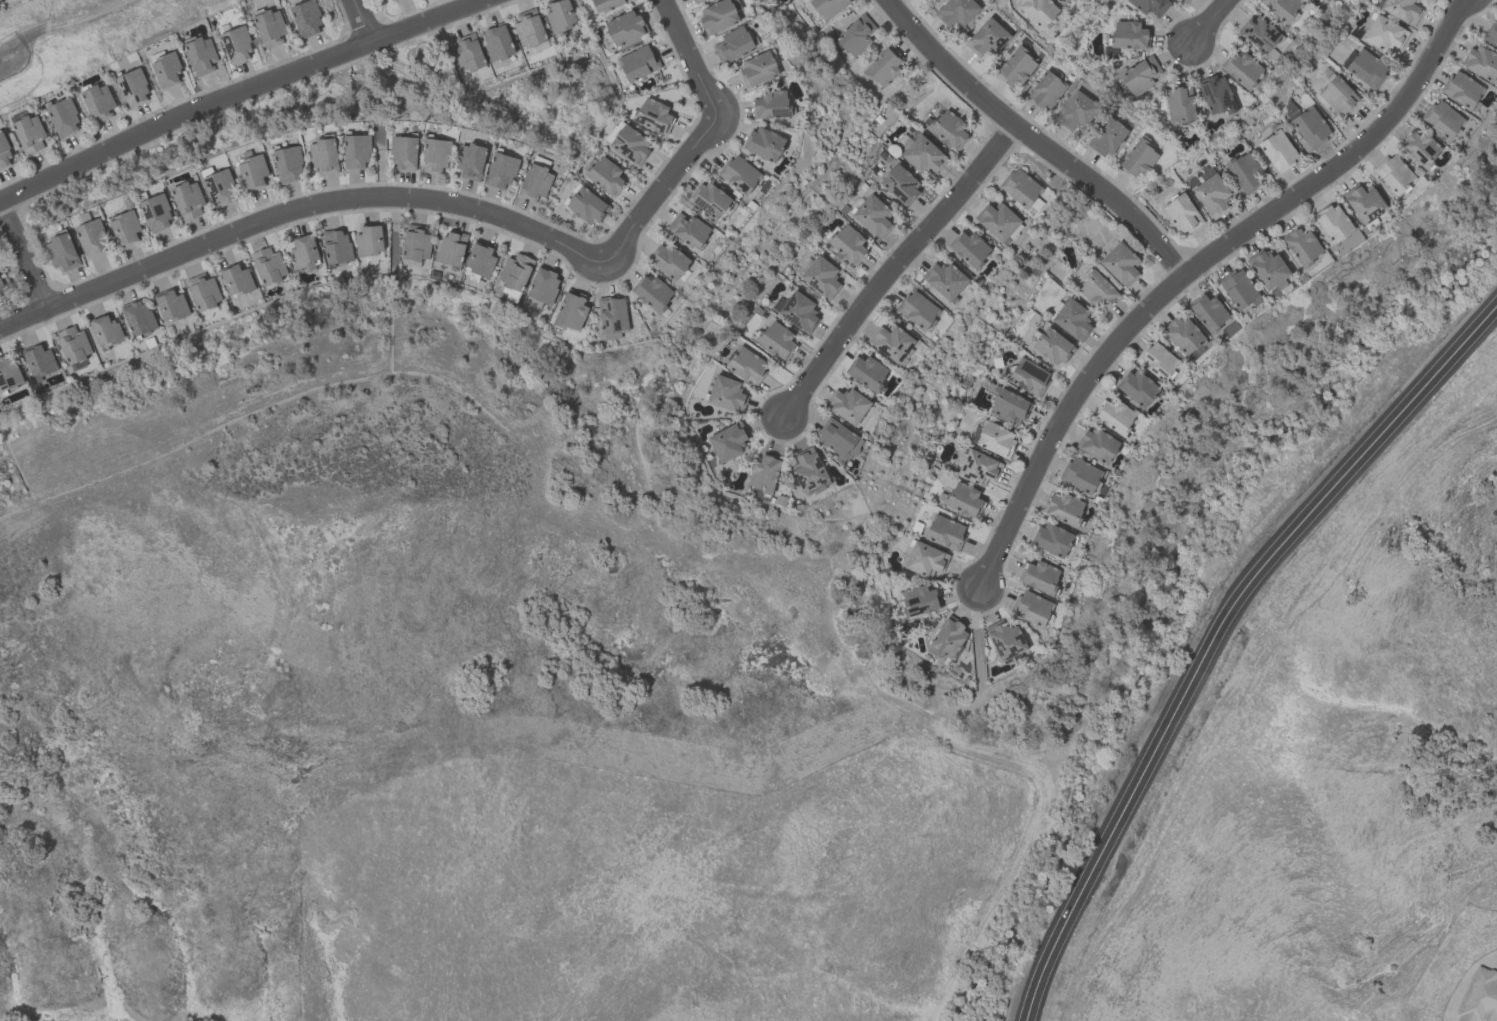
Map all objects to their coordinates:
building: (389, 0)
building: (698, 1)
building: (1060, 1)
building: (1183, 1)
building: (608, 4)
building: (1150, 6)
building: (828, 7)
building: (1281, 8)
building: (1402, 10)
building: (1038, 11)
building: (957, 13)
building: (560, 16)
building: (718, 16)
building: (306, 19)
road: (1211, 20)
road: (361, 22)
building: (270, 28)
building: (625, 28)
building: (529, 29)
building: (1260, 34)
building: (1384, 34)
building: (1492, 34)
building: (856, 35)
building: (1129, 35)
building: (987, 38)
building: (497, 42)
building: (236, 45)
building: (733, 45)
building: (468, 54)
building: (201, 56)
building: (1481, 63)
building: (637, 64)
building: (884, 67)
building: (1016, 67)
building: (758, 69)
building: (1366, 69)
building: (166, 70)
building: (1243, 70)
building: (1140, 76)
building: (133, 88)
building: (1462, 90)
building: (1045, 92)
road: (240, 95)
building: (1216, 95)
building: (1339, 97)
building: (99, 103)
building: (1179, 104)
building: (771, 105)
building: (1077, 111)
building: (653, 116)
building: (63, 118)
building: (1442, 119)
building: (1310, 128)
building: (949, 129)
building: (29, 134)
building: (1106, 137)
road: (1034, 138)
road: (699, 142)
building: (630, 144)
building: (764, 144)
building: (1420, 148)
building: (1278, 151)
building: (356, 152)
building: (404, 153)
building: (5, 154)
building: (324, 155)
building: (923, 155)
building: (435, 156)
building: (1138, 159)
building: (471, 162)
building: (288, 165)
building: (253, 171)
building: (501, 171)
building: (1244, 173)
building: (740, 174)
building: (1394, 174)
building: (605, 175)
building: (535, 182)
building: (900, 184)
building: (220, 188)
building: (1020, 188)
building: (1212, 196)
building: (188, 200)
building: (710, 200)
building: (1364, 203)
building: (587, 206)
road: (296, 211)
building: (156, 214)
building: (1181, 214)
building: (873, 216)
building: (998, 221)
building: (1333, 224)
building: (125, 228)
building: (689, 230)
building: (92, 238)
building: (1350, 240)
building: (369, 241)
building: (416, 243)
building: (848, 244)
building: (336, 247)
building: (1303, 247)
building: (451, 248)
building: (970, 249)
building: (304, 252)
building: (62, 253)
road: (22, 256)
building: (480, 260)
building: (668, 261)
building: (1120, 264)
road: (894, 265)
road: (1193, 265)
building: (269, 266)
building: (1268, 269)
building: (515, 271)
building: (821, 277)
building: (236, 280)
building: (944, 280)
building: (1, 284)
building: (544, 286)
building: (1238, 289)
building: (1097, 291)
building: (203, 292)
building: (652, 293)
building: (0, 296)
building: (171, 305)
building: (917, 310)
building: (571, 311)
building: (799, 312)
building: (1208, 313)
building: (612, 315)
building: (138, 318)
building: (1072, 320)
building: (105, 331)
building: (1186, 337)
building: (777, 340)
building: (891, 342)
building: (73, 345)
building: (1053, 347)
building: (39, 361)
building: (1157, 361)
building: (747, 365)
building: (867, 372)
building: (8, 373)
building: (1028, 377)
building: (1137, 388)
building: (726, 394)
building: (848, 405)
building: (1008, 406)
building: (1114, 416)
building: (995, 439)
building: (839, 441)
building: (728, 442)
building: (1097, 445)
building: (979, 468)
building: (809, 471)
building: (764, 474)
building: (1080, 475)
building: (964, 500)
building: (1064, 509)
building: (945, 533)
building: (1052, 540)
building: (925, 560)
building: (1040, 577)
building: (919, 601)
building: (1031, 608)
road: (1217, 635)
building: (1005, 640)
building: (947, 641)
building: (1480, 997)

